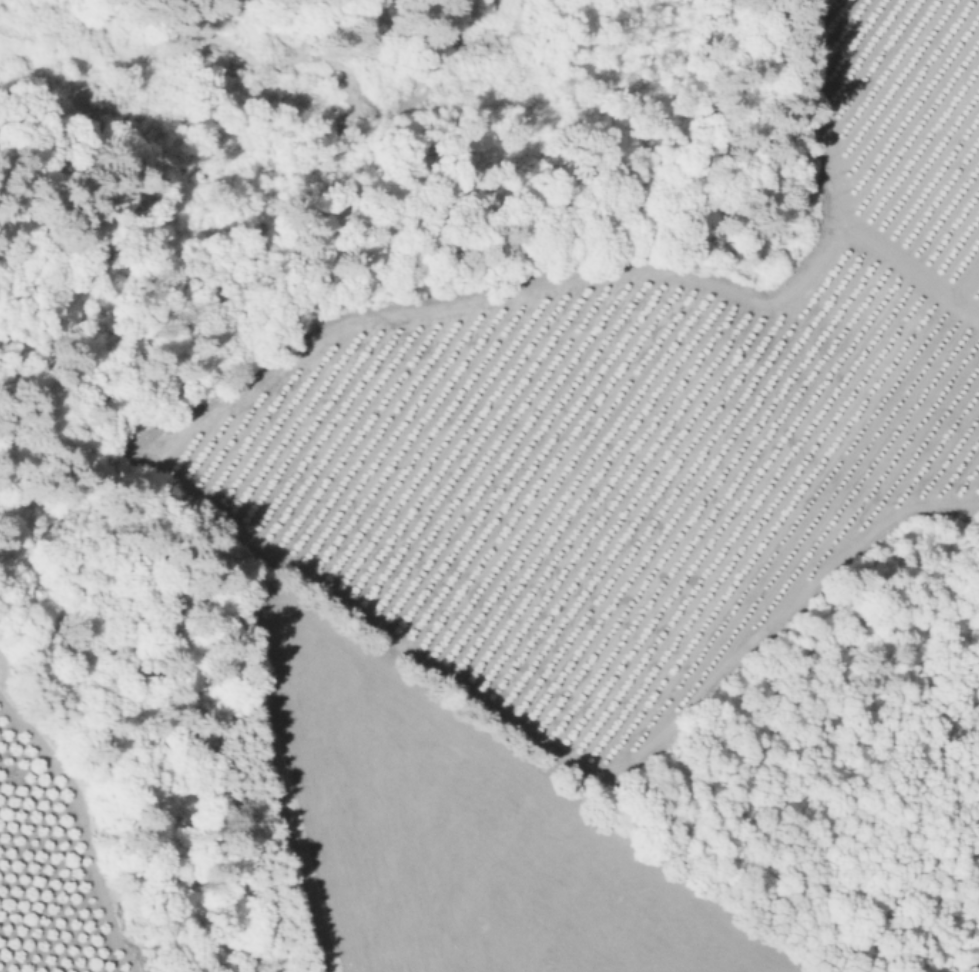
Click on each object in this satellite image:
crop: (906, 161)

